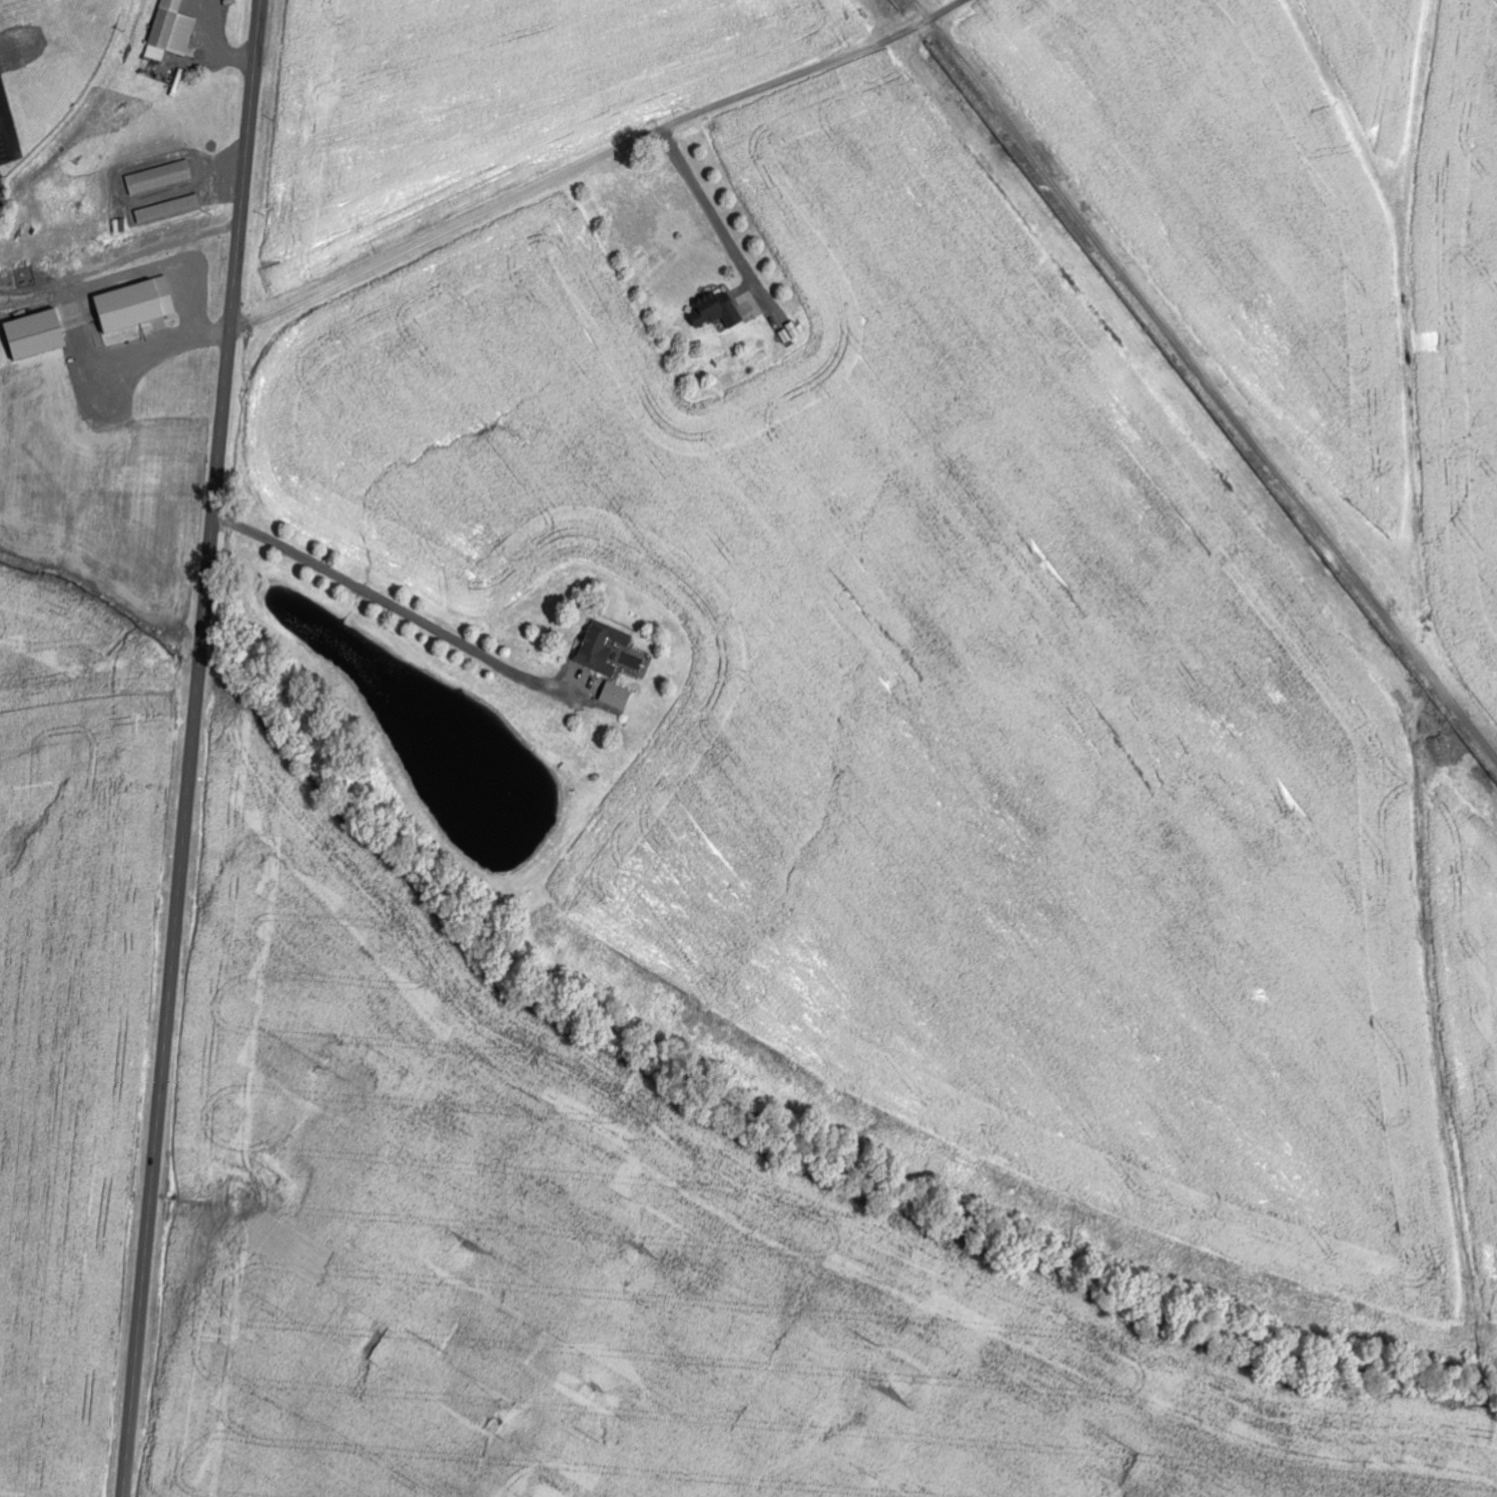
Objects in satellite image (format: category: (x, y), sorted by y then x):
building: (172, 31)
road: (593, 160)
building: (161, 176)
building: (169, 208)
building: (137, 303)
building: (718, 313)
building: (37, 333)
road: (393, 605)
building: (600, 650)
building: (617, 695)
road: (191, 748)

